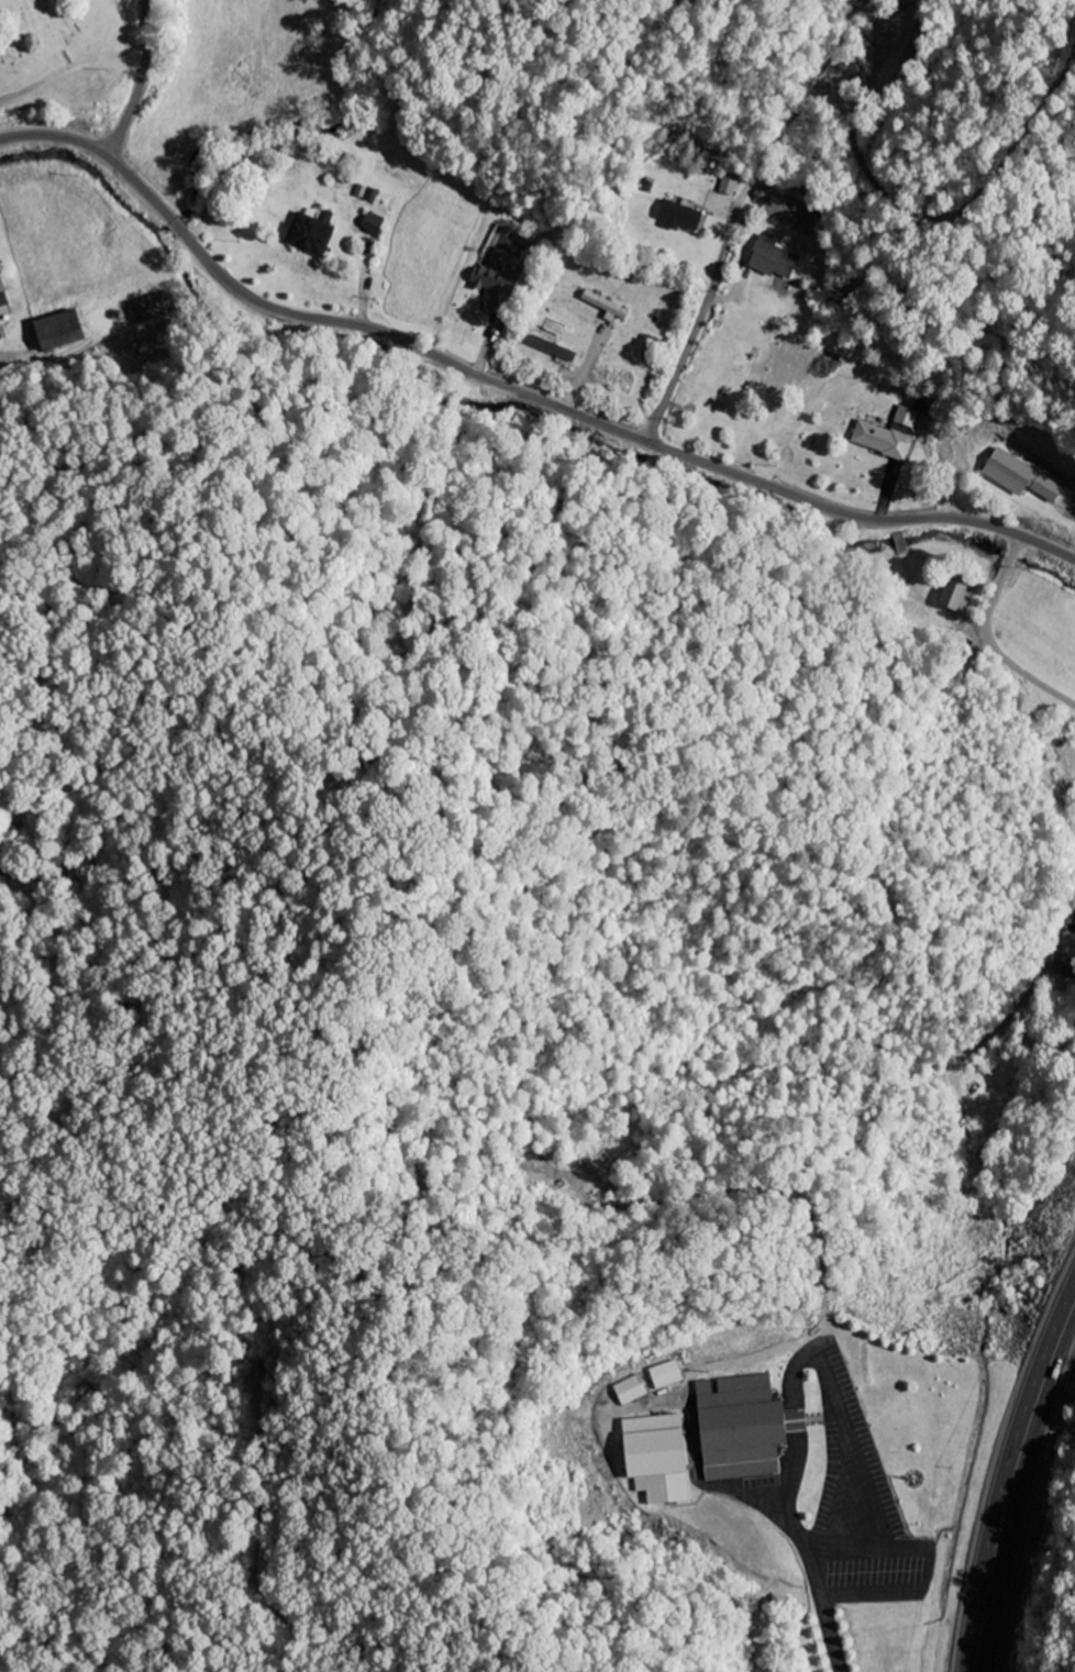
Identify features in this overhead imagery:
park: (57, 32)
road: (69, 65)
road: (142, 81)
building: (727, 188)
building: (677, 217)
building: (372, 223)
building: (309, 234)
building: (367, 248)
building: (771, 259)
building: (494, 285)
building: (2, 299)
building: (603, 307)
building: (151, 308)
road: (699, 322)
building: (58, 332)
building: (551, 350)
road: (512, 389)
building: (886, 435)
building: (1018, 477)
building: (955, 597)
building: (1065, 967)
road: (794, 1372)
building: (664, 1375)
building: (628, 1391)
building: (739, 1428)
building: (653, 1458)
road: (1012, 1479)
road: (830, 1560)
road: (926, 1573)
road: (832, 1630)

